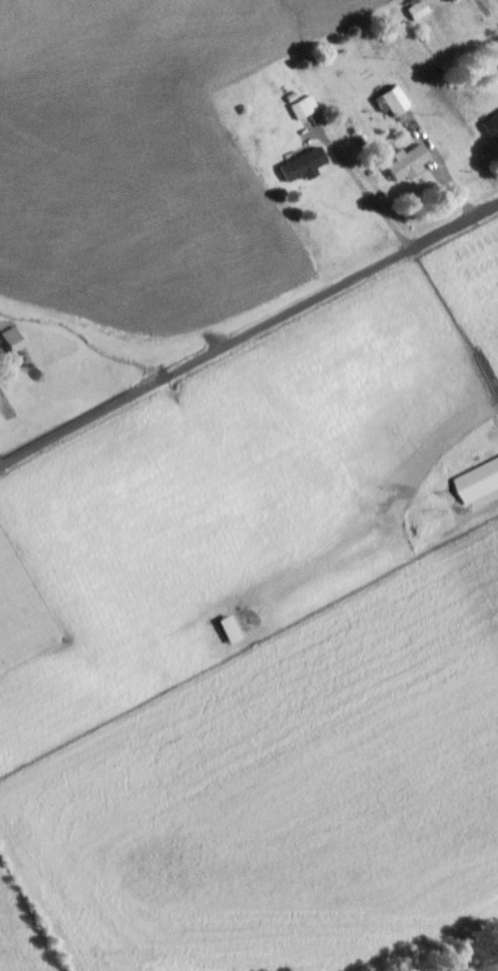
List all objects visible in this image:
building: (421, 9)
building: (396, 102)
building: (308, 108)
building: (493, 124)
building: (308, 165)
road: (248, 337)
building: (17, 340)
building: (483, 484)

